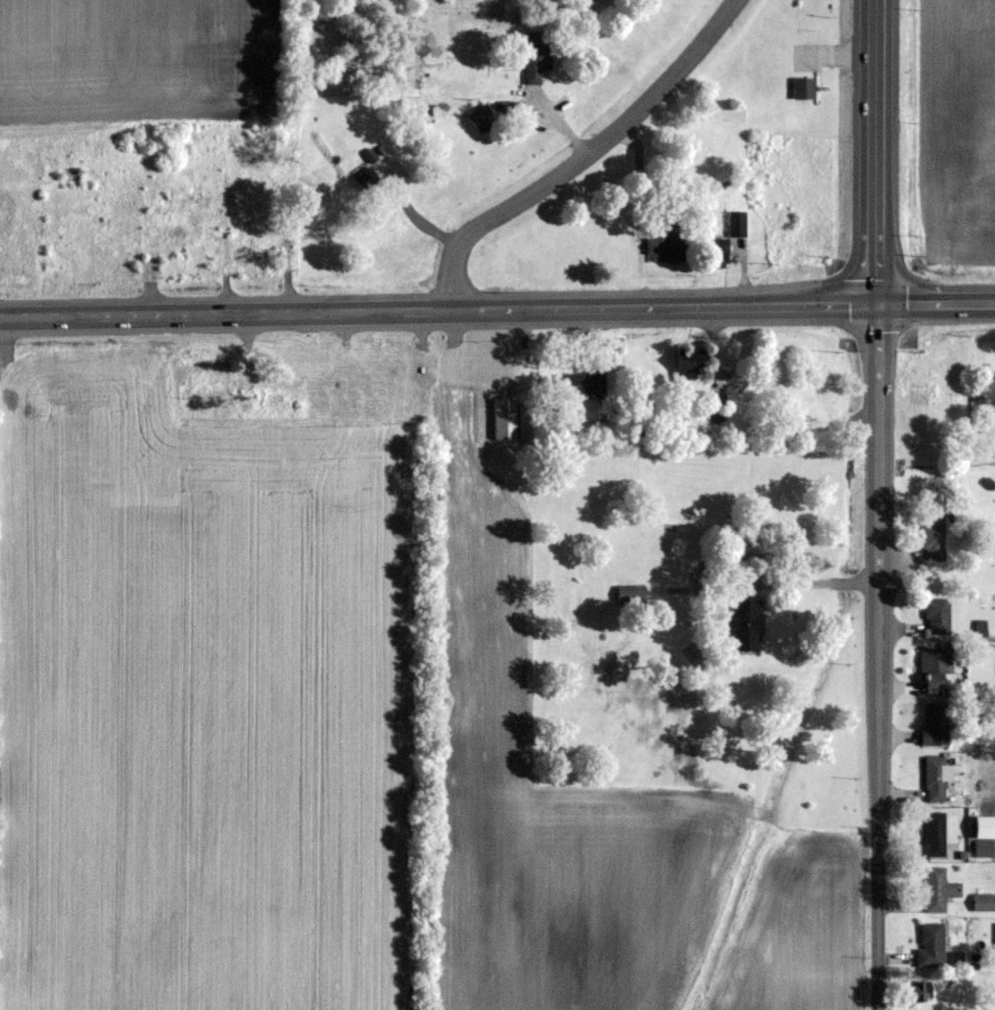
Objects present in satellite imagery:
building: (535, 56)
building: (413, 81)
building: (804, 88)
building: (480, 119)
road: (879, 153)
road: (583, 155)
building: (365, 179)
road: (410, 216)
building: (737, 224)
building: (667, 243)
building: (715, 253)
road: (937, 305)
road: (439, 307)
building: (688, 365)
building: (207, 381)
building: (581, 384)
building: (504, 418)
road: (880, 444)
building: (934, 537)
road: (818, 582)
building: (630, 594)
building: (937, 615)
building: (746, 624)
building: (935, 669)
building: (937, 726)
building: (935, 779)
road: (881, 796)
building: (935, 834)
building: (984, 848)
building: (939, 890)
building: (984, 902)
building: (931, 945)
building: (915, 992)

